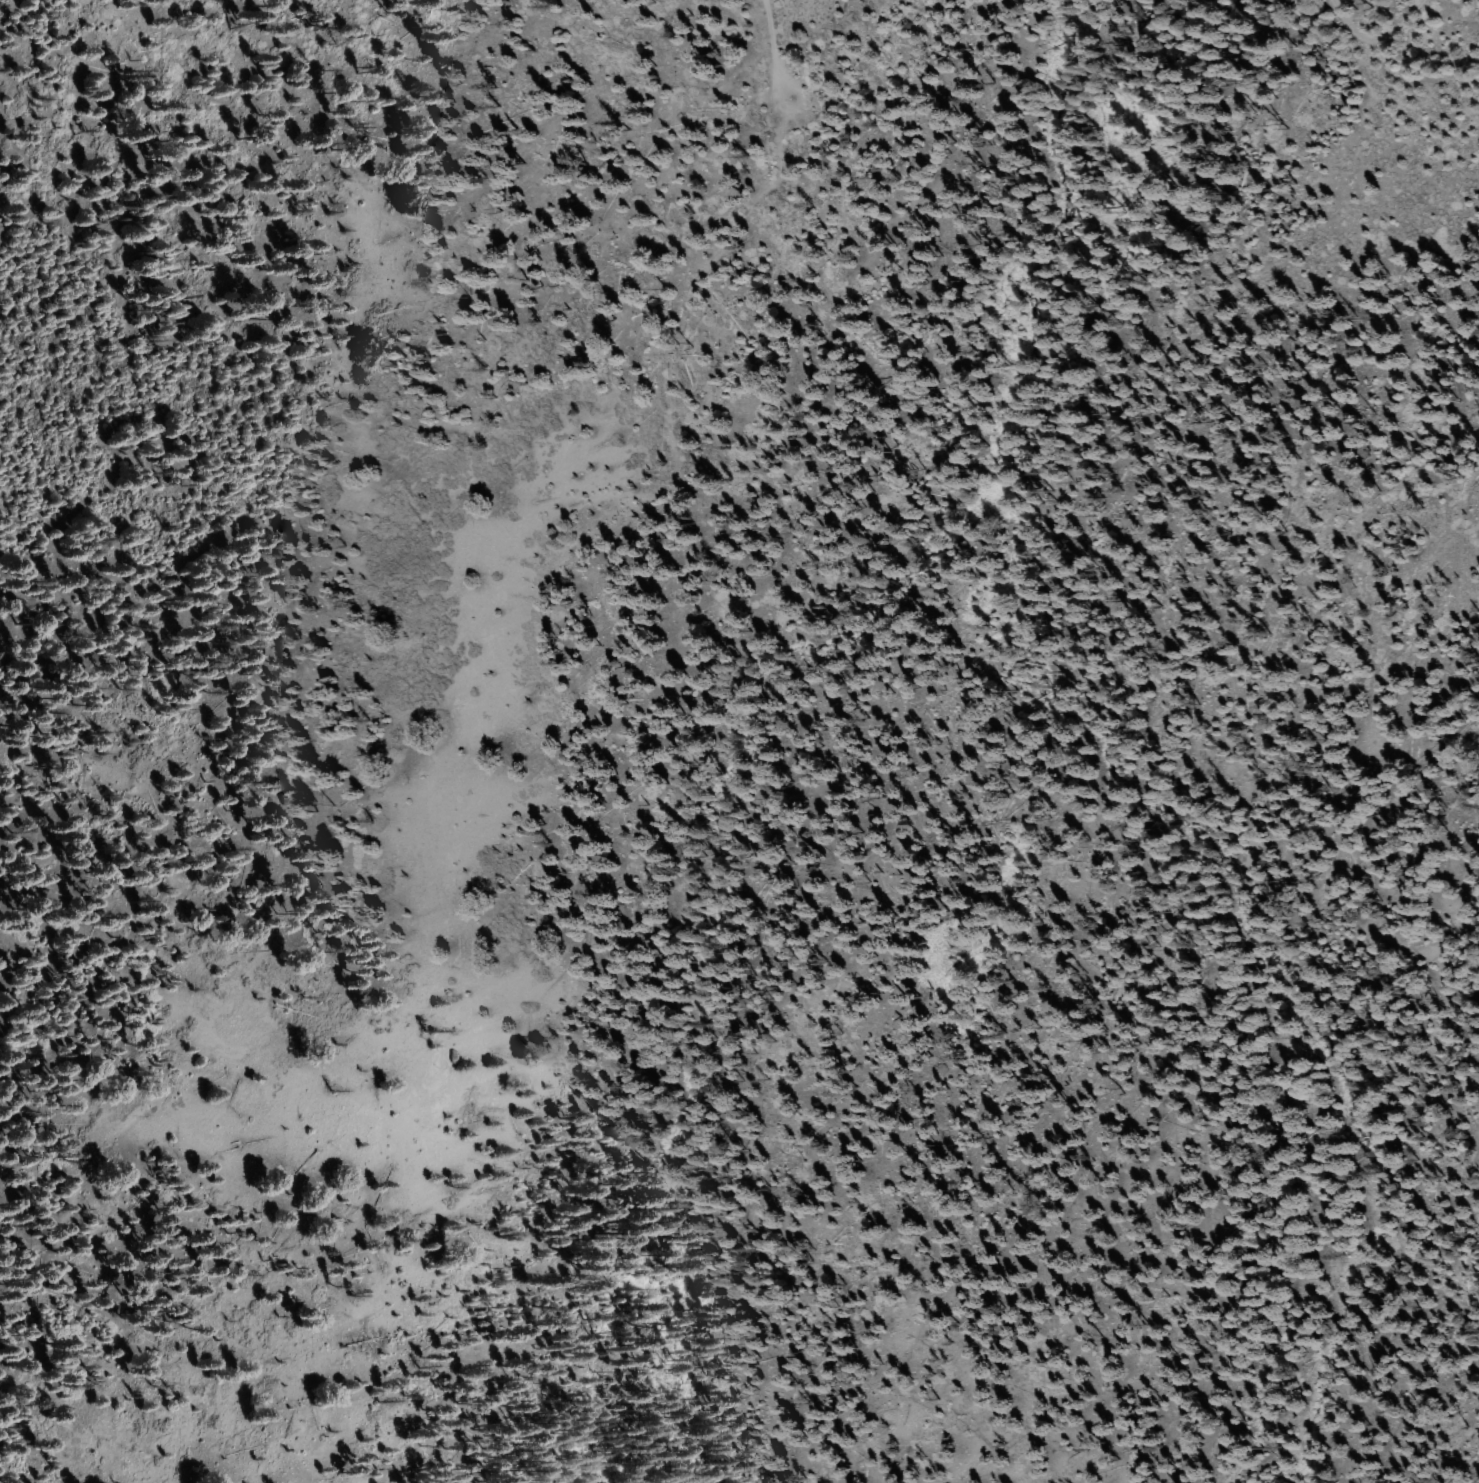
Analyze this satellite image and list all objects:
road: (1374, 31)
road: (770, 54)

